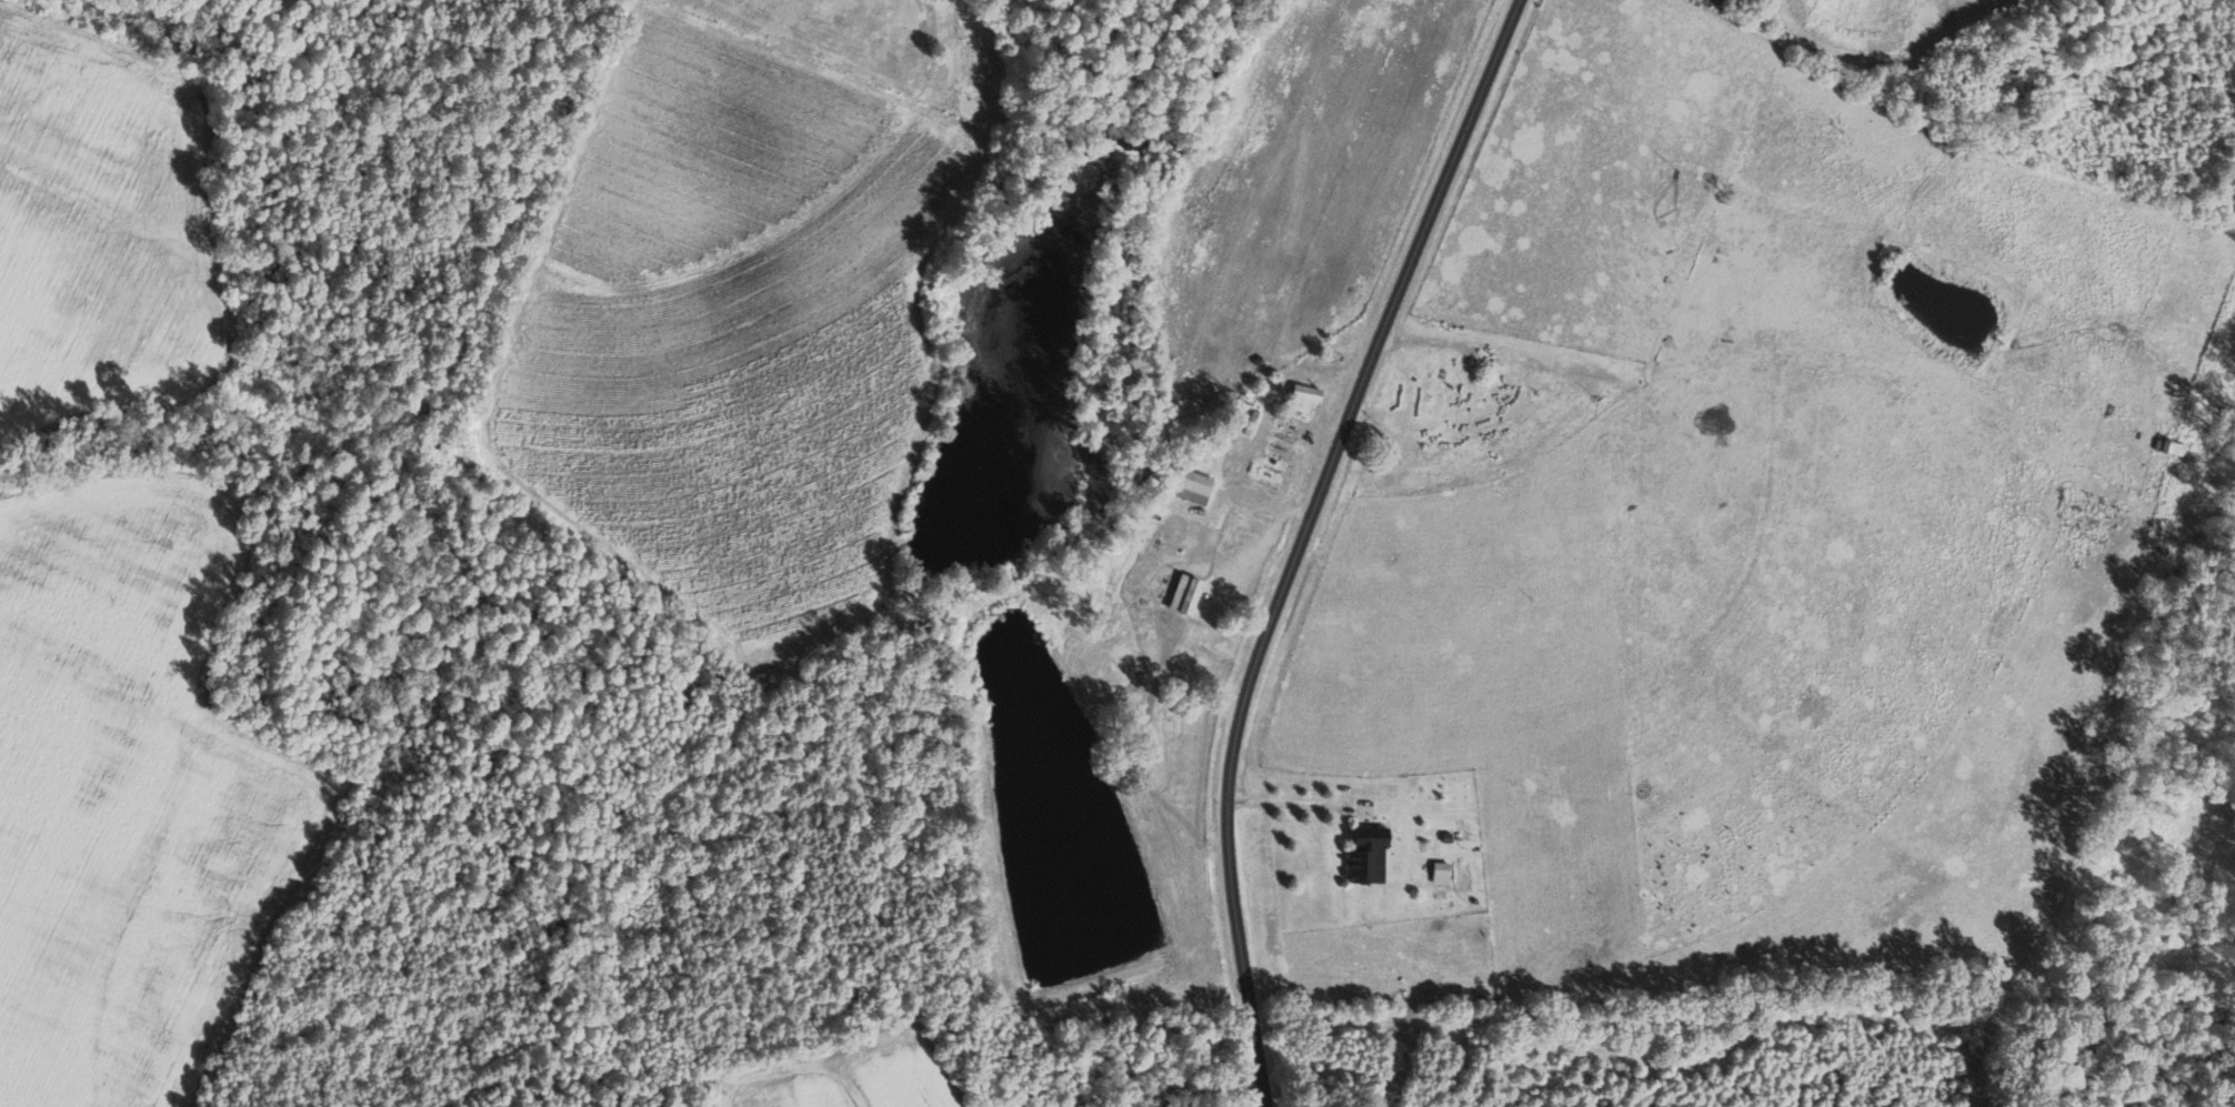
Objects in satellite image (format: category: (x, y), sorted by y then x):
building: (1302, 400)
building: (1190, 486)
road: (1302, 540)
building: (1182, 594)
road: (1284, 803)
building: (1365, 855)
building: (1439, 872)
road: (809, 1065)

